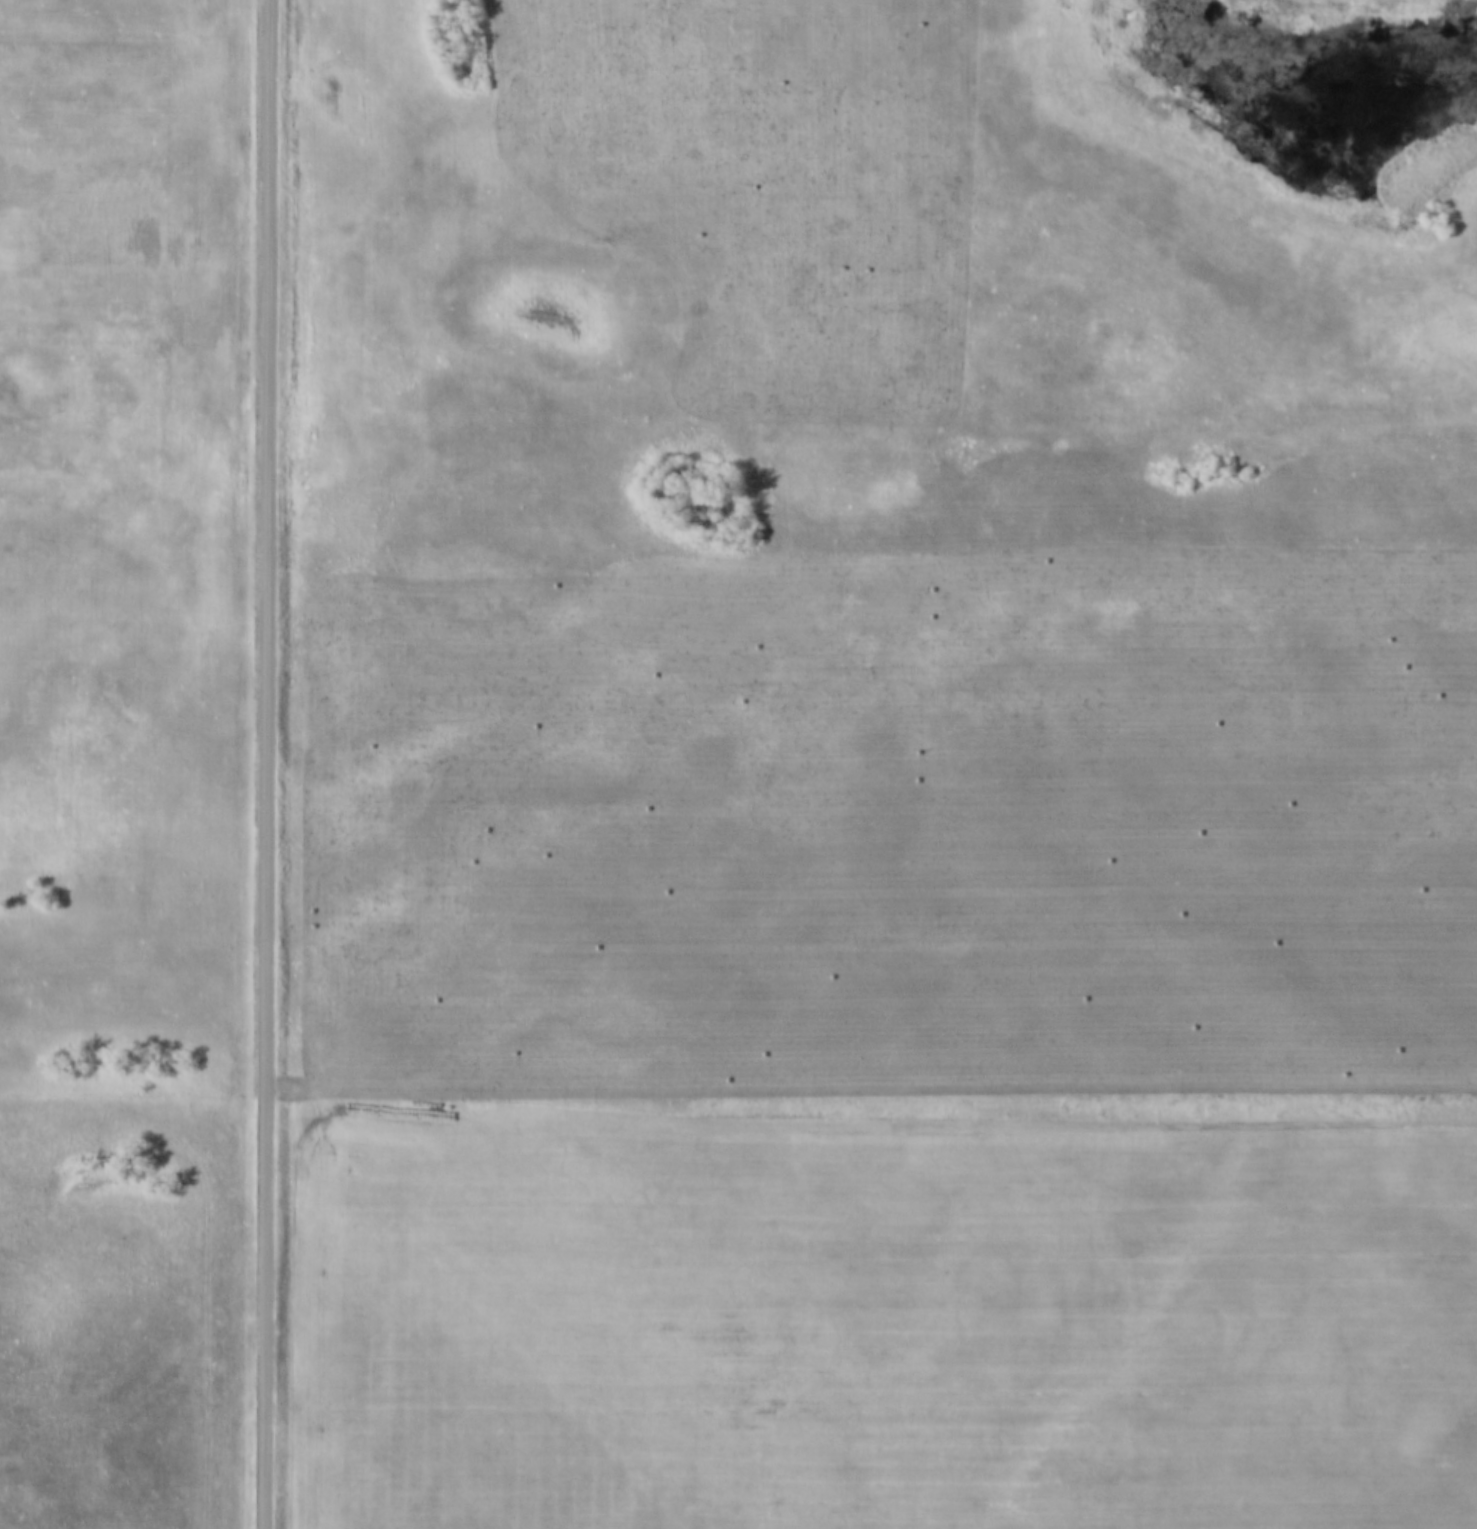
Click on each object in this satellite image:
road: (272, 764)

